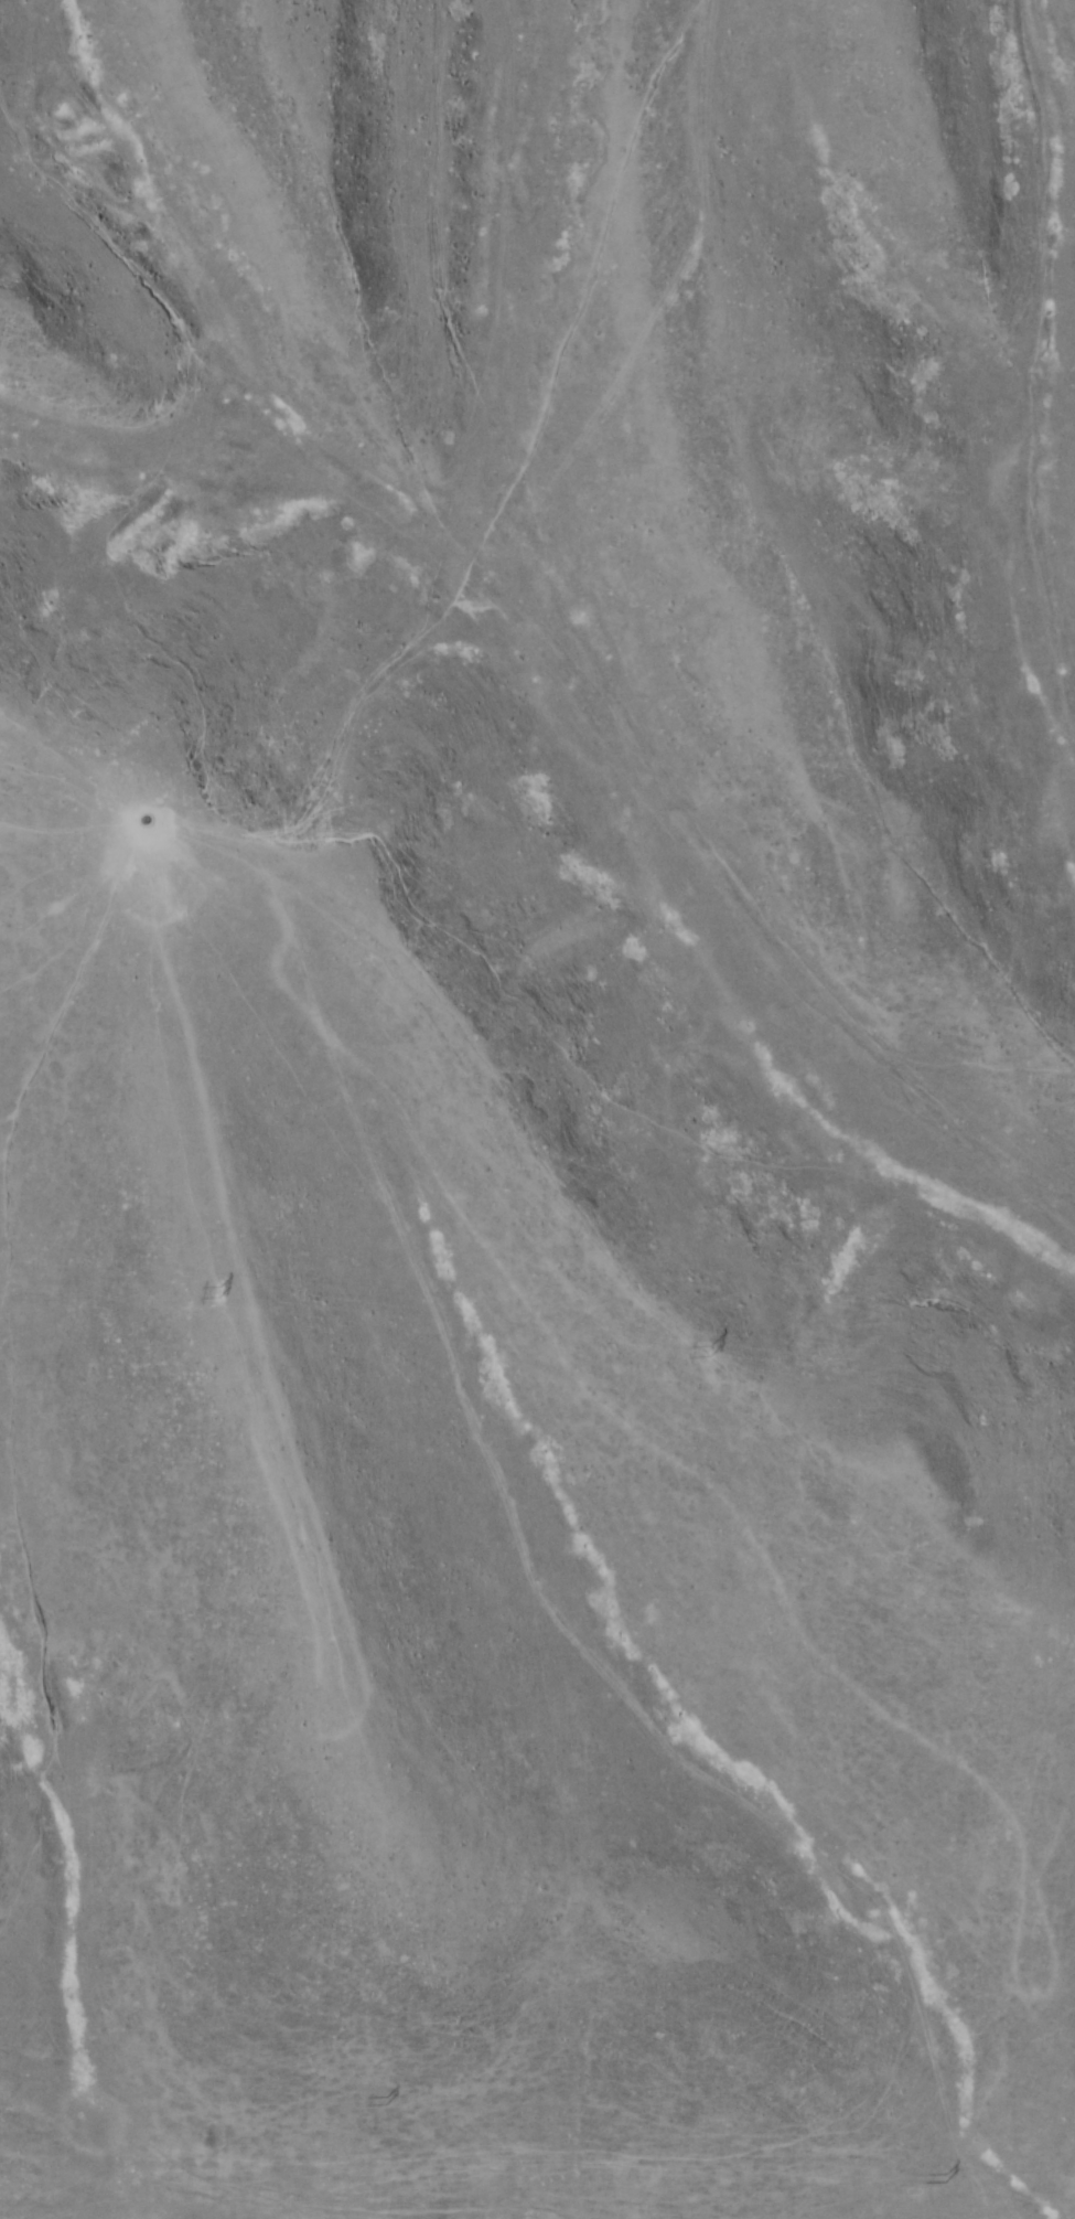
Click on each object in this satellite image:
power tower: (222, 1293)
power tower: (710, 1353)

